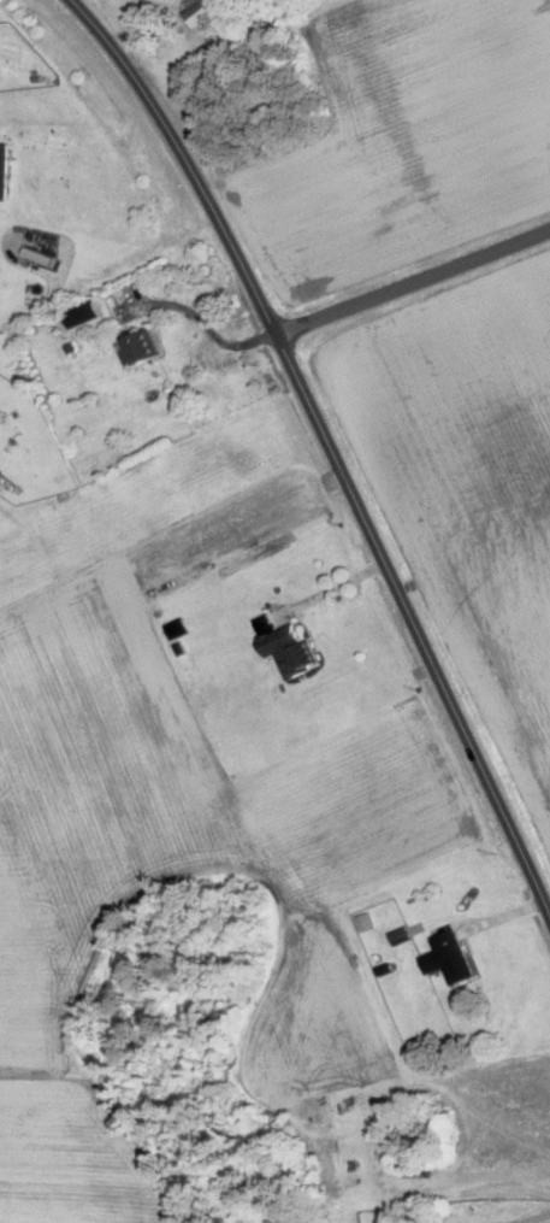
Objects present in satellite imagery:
building: (5, 170)
road: (416, 283)
building: (141, 347)
road: (333, 442)
road: (333, 588)
building: (289, 647)
building: (448, 956)
road: (536, 1218)

